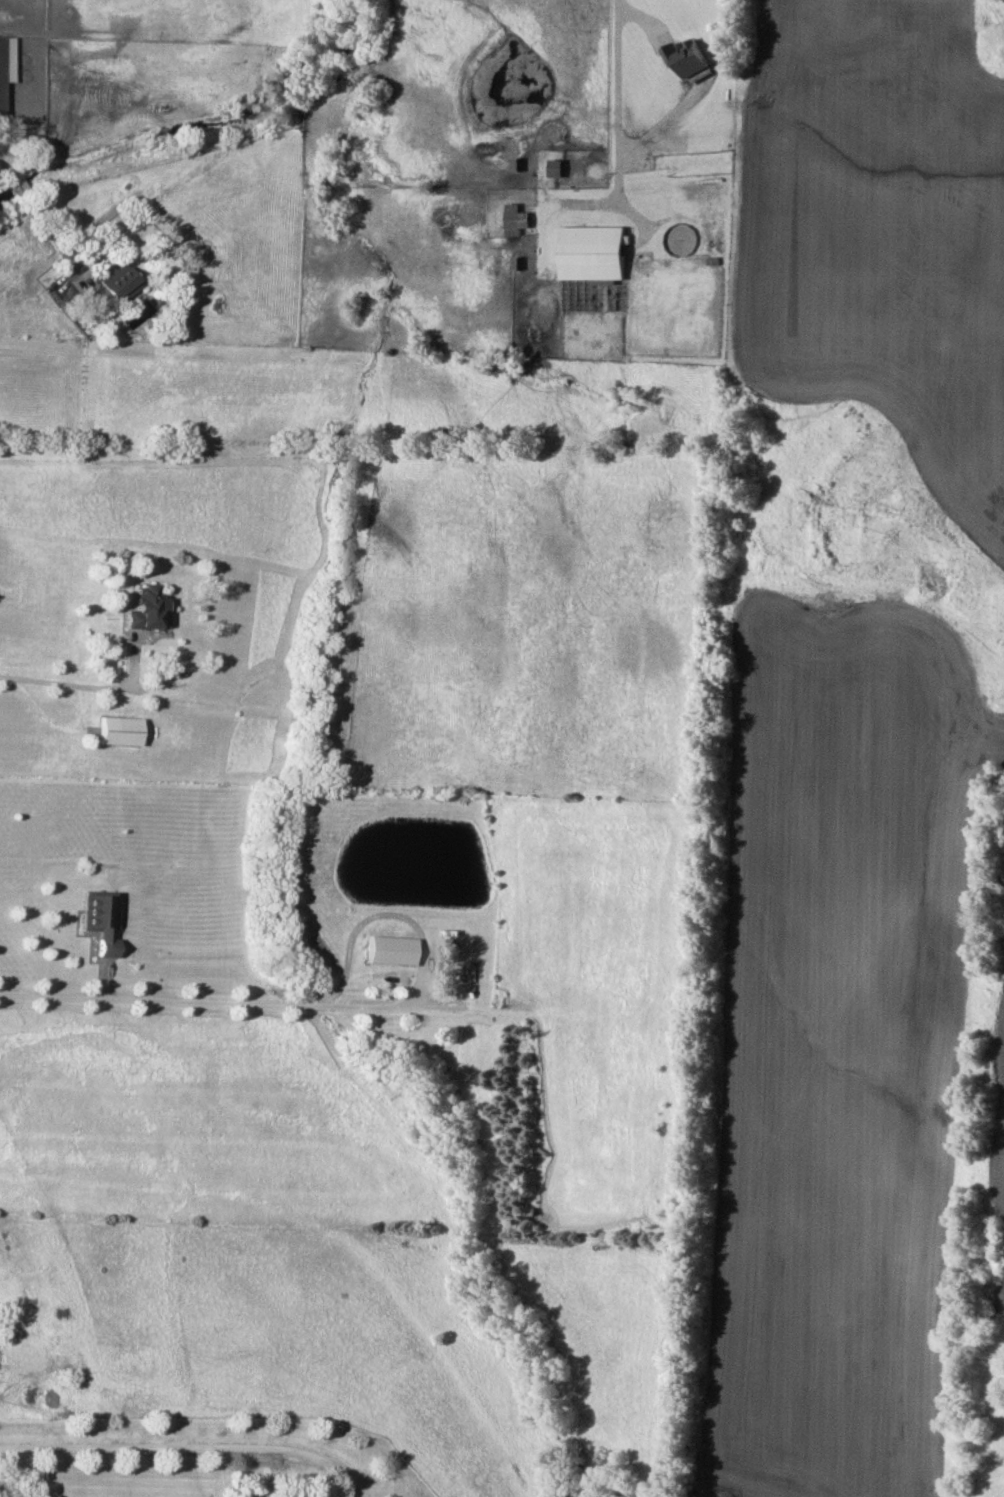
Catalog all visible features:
building: (687, 57)
building: (5, 62)
road: (618, 94)
building: (554, 168)
road: (7, 171)
road: (19, 184)
building: (515, 219)
road: (49, 228)
building: (593, 253)
building: (115, 283)
building: (145, 608)
road: (81, 678)
building: (118, 730)
building: (98, 919)
building: (389, 949)
road: (194, 996)
road: (187, 1447)

